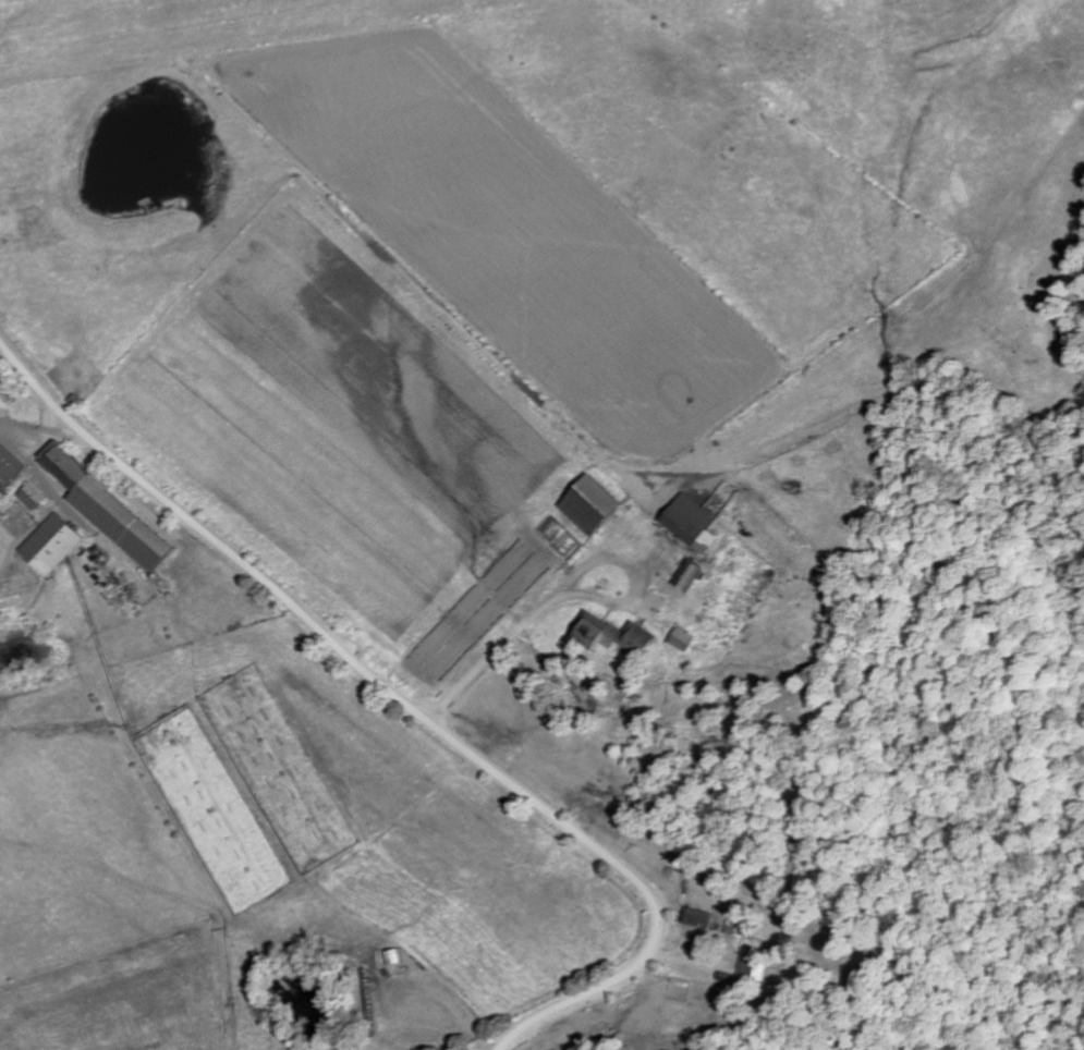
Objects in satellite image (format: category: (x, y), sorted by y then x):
building: (10, 467)
building: (35, 496)
building: (596, 504)
building: (113, 509)
building: (695, 523)
building: (54, 544)
building: (692, 574)
building: (621, 635)
building: (685, 638)
road: (411, 706)
building: (704, 917)
building: (758, 963)

